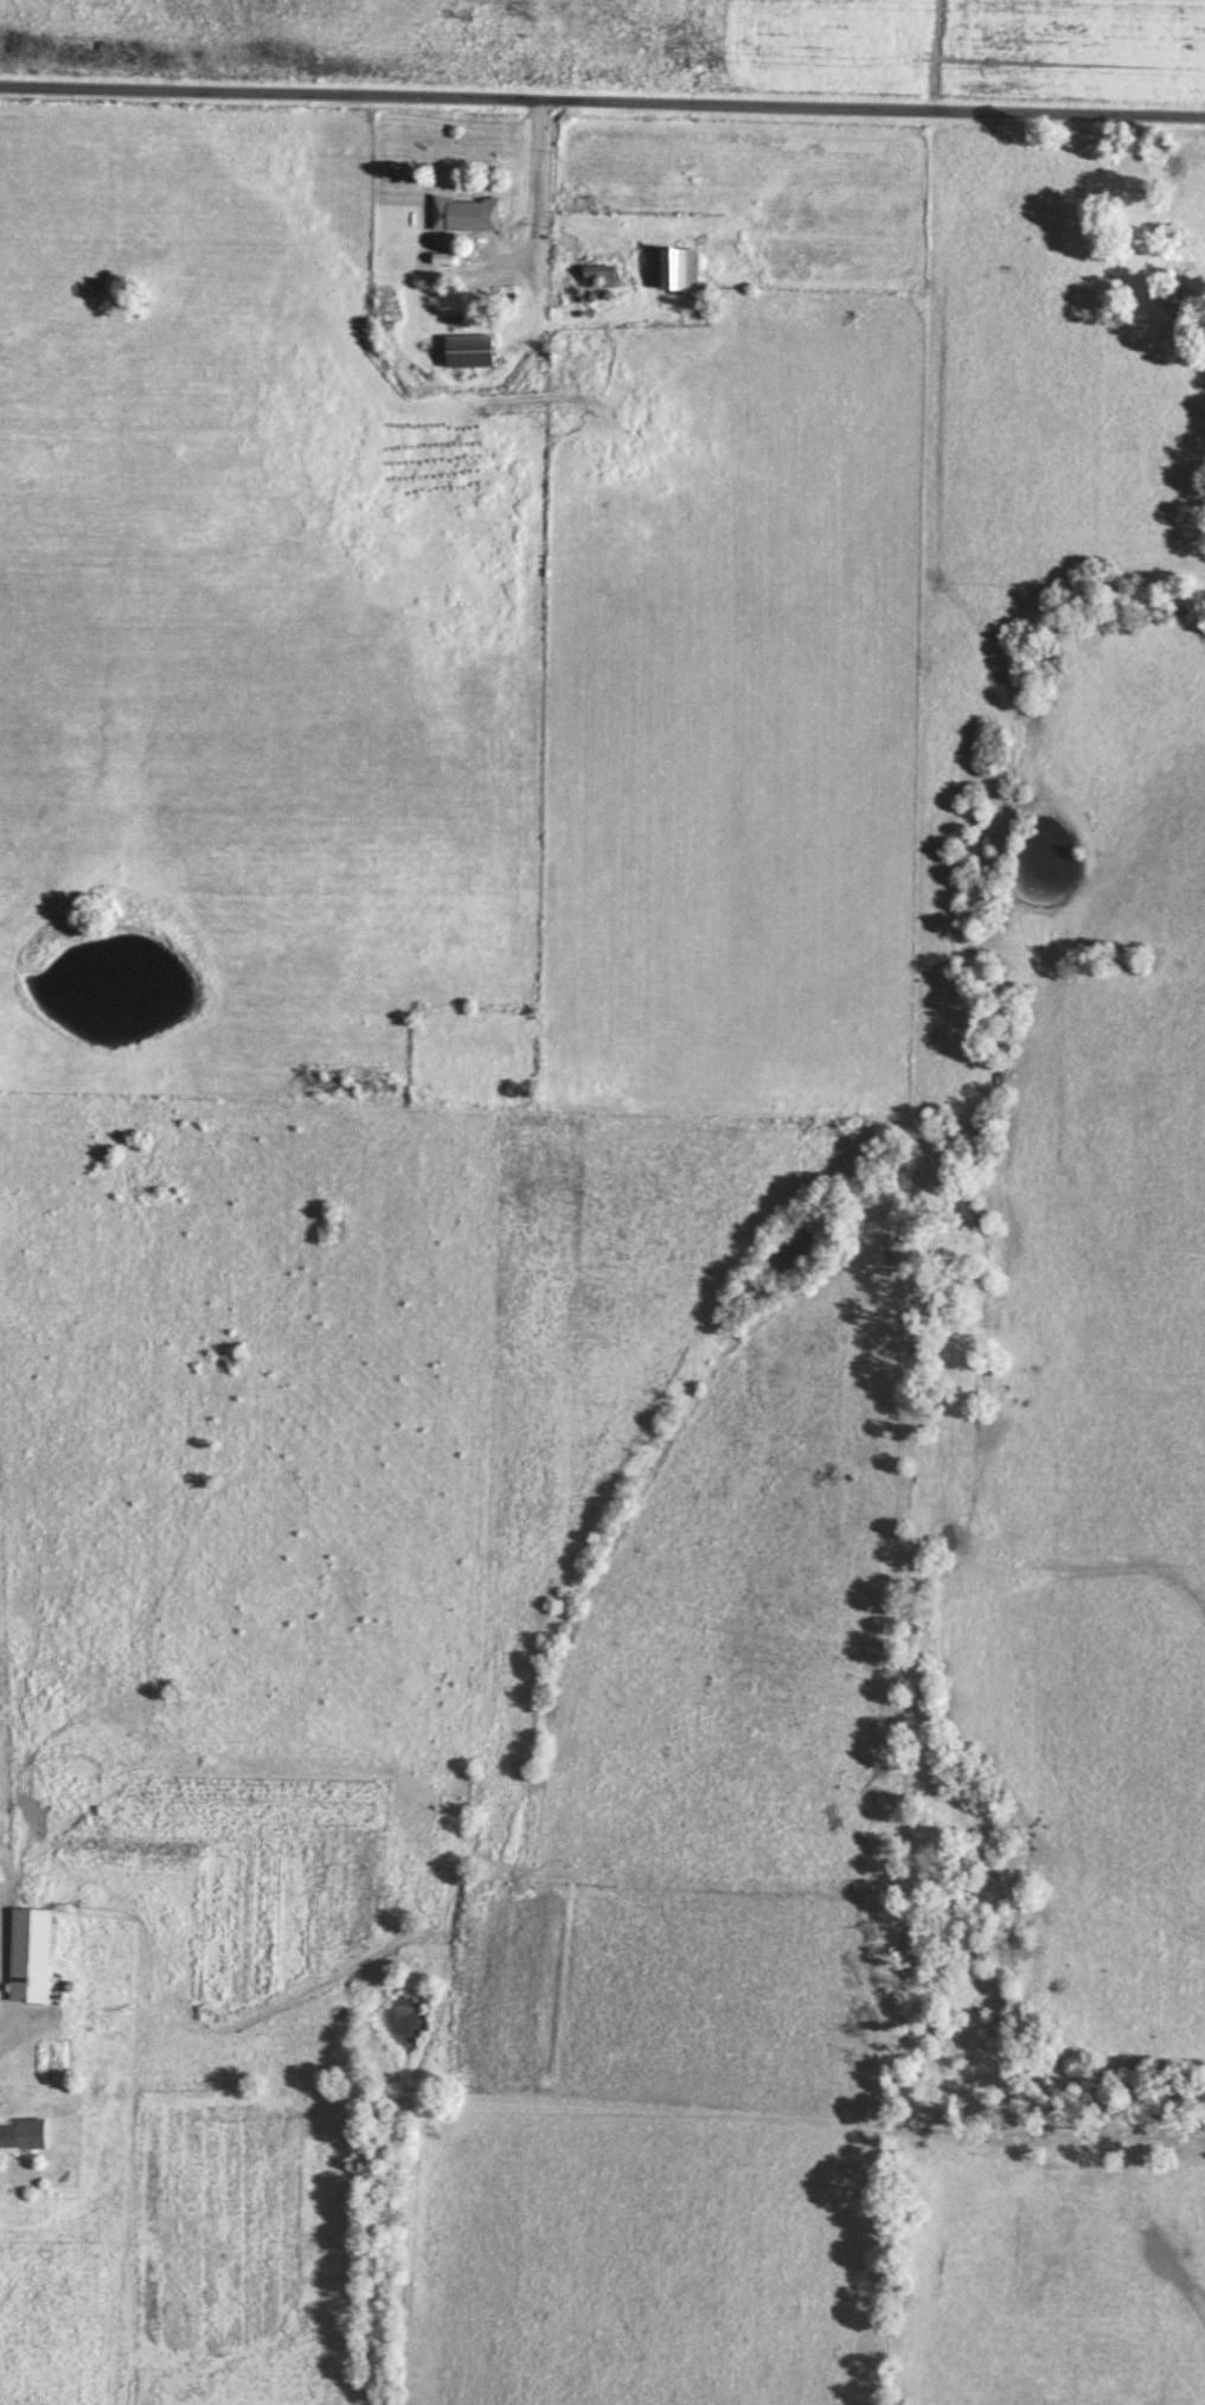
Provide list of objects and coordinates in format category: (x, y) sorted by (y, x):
road: (602, 102)
road: (538, 191)
building: (467, 212)
building: (680, 266)
building: (601, 270)
building: (470, 348)
building: (30, 1955)
road: (1, 2023)
building: (24, 2134)

